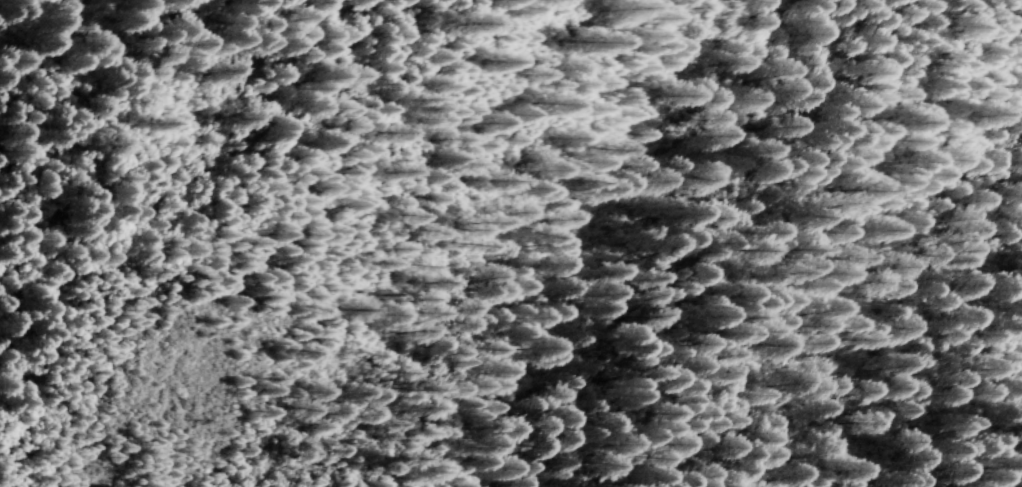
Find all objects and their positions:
park: (497, 257)

